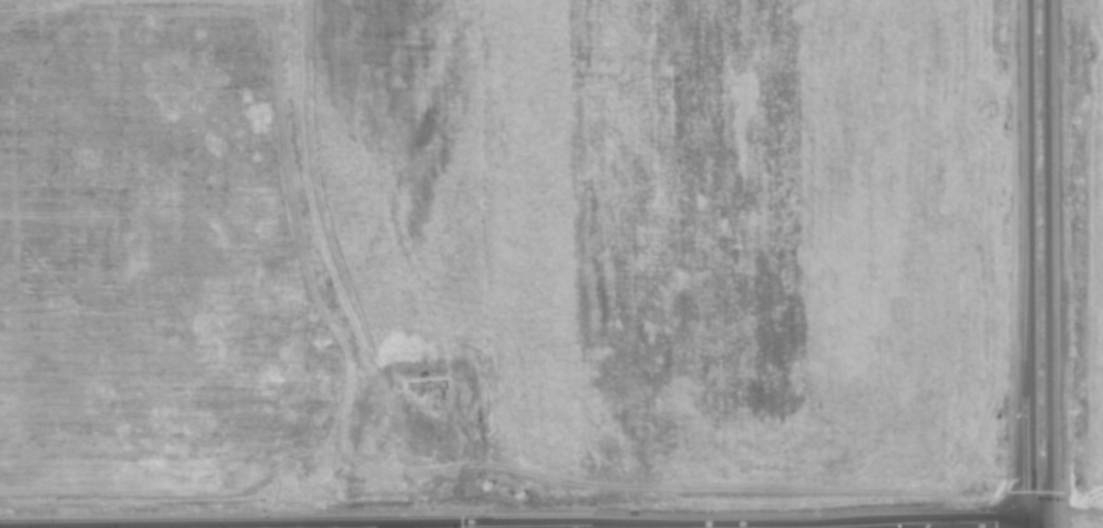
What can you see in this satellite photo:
road: (1027, 263)
road: (1047, 263)
road: (1075, 525)
road: (959, 527)

